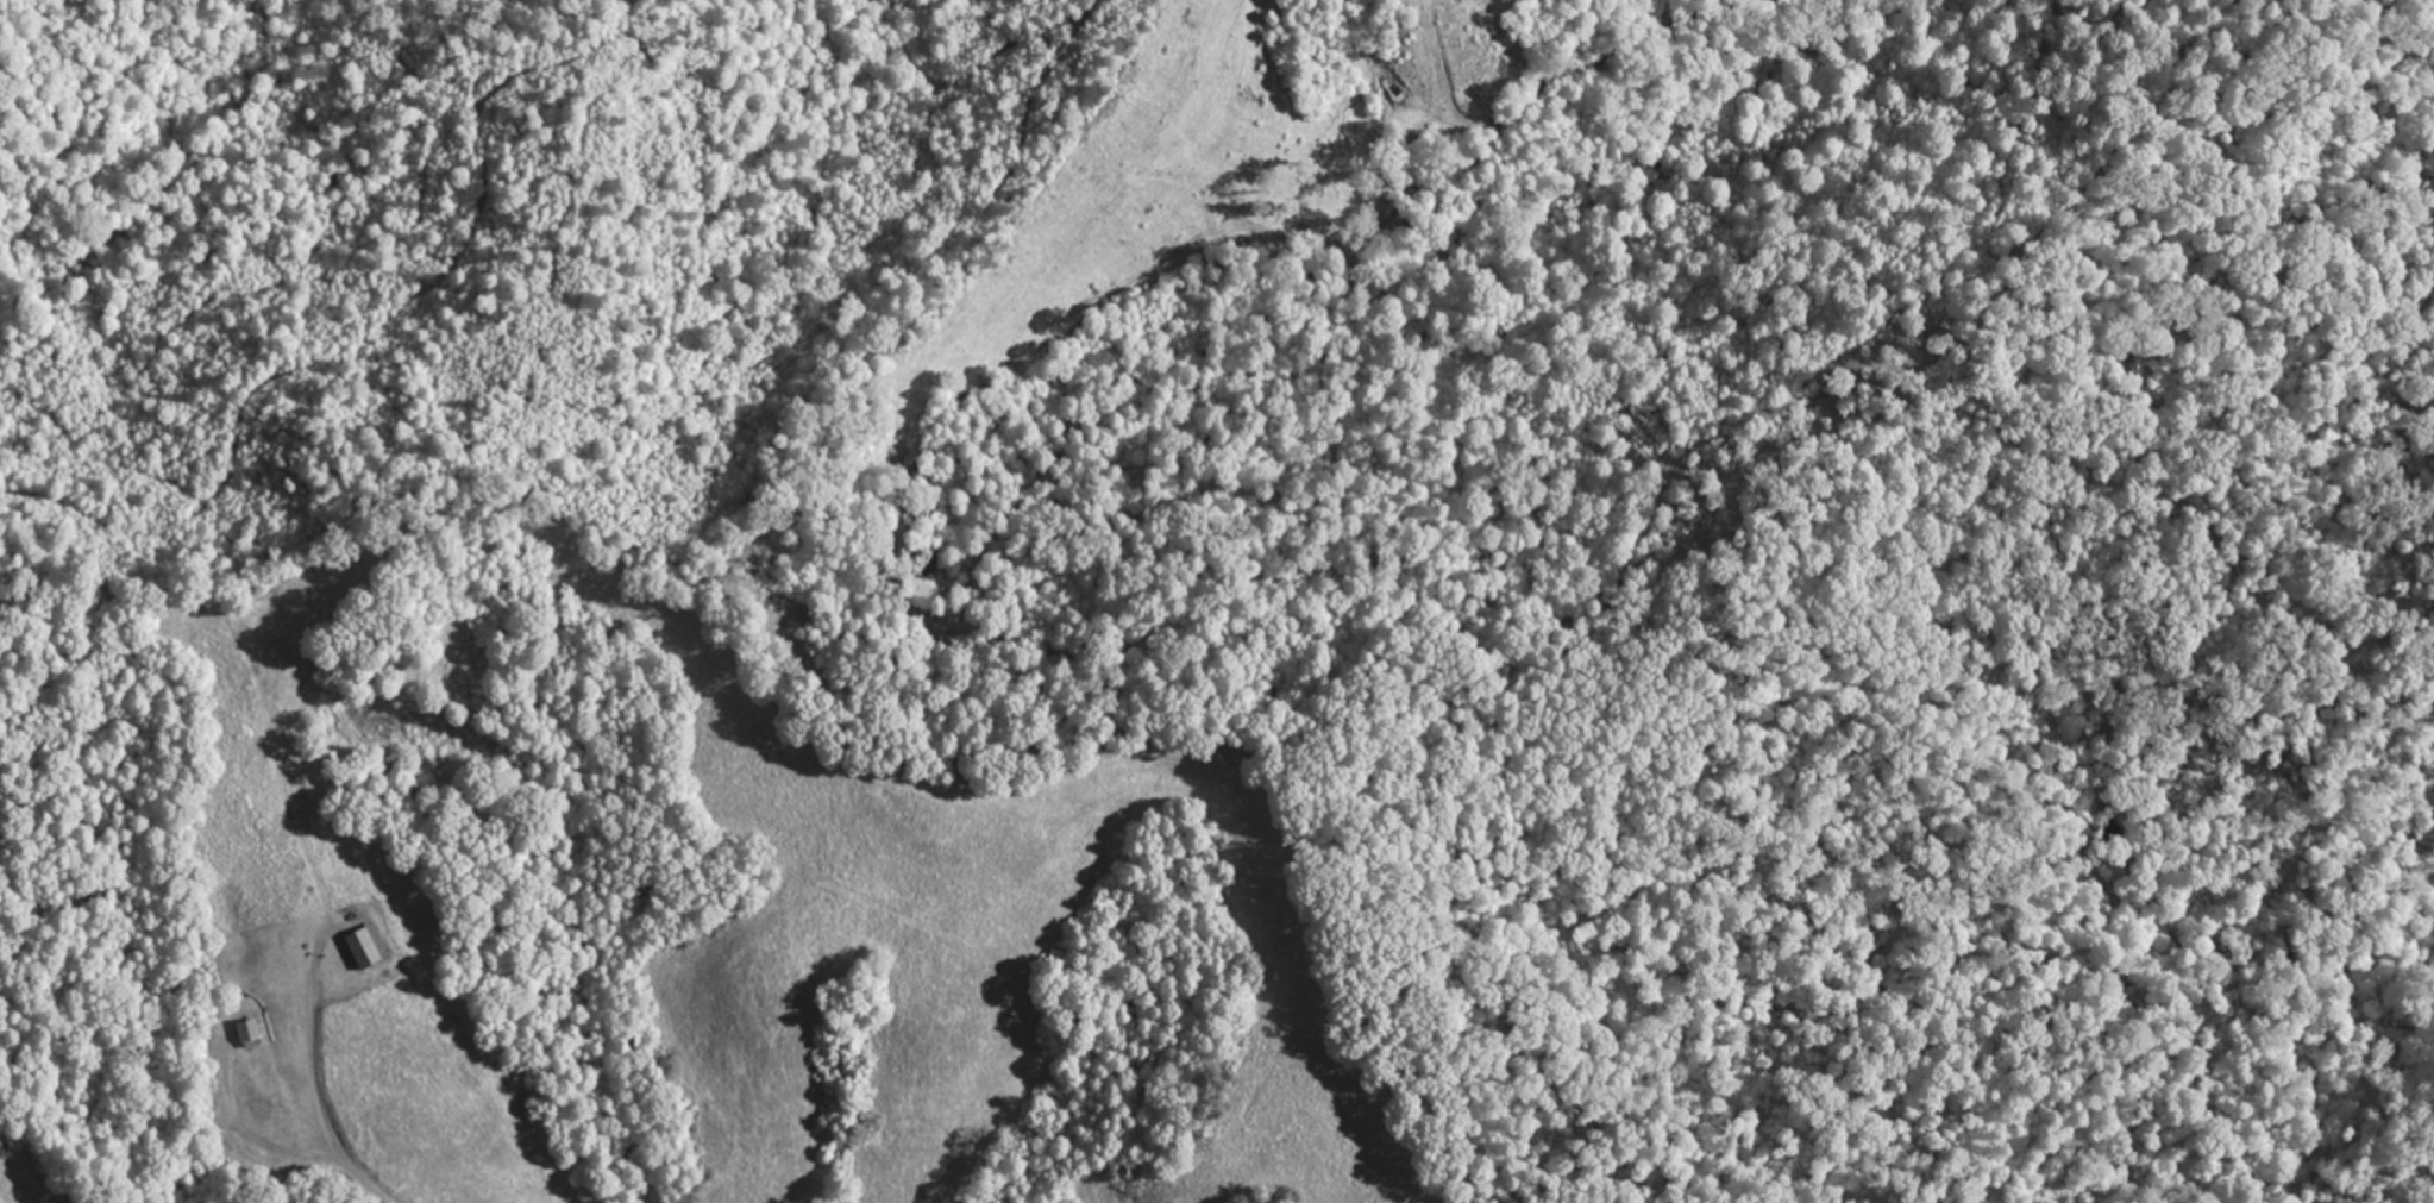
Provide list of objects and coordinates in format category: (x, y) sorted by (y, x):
building: (366, 948)
building: (249, 1036)
road: (357, 1164)

